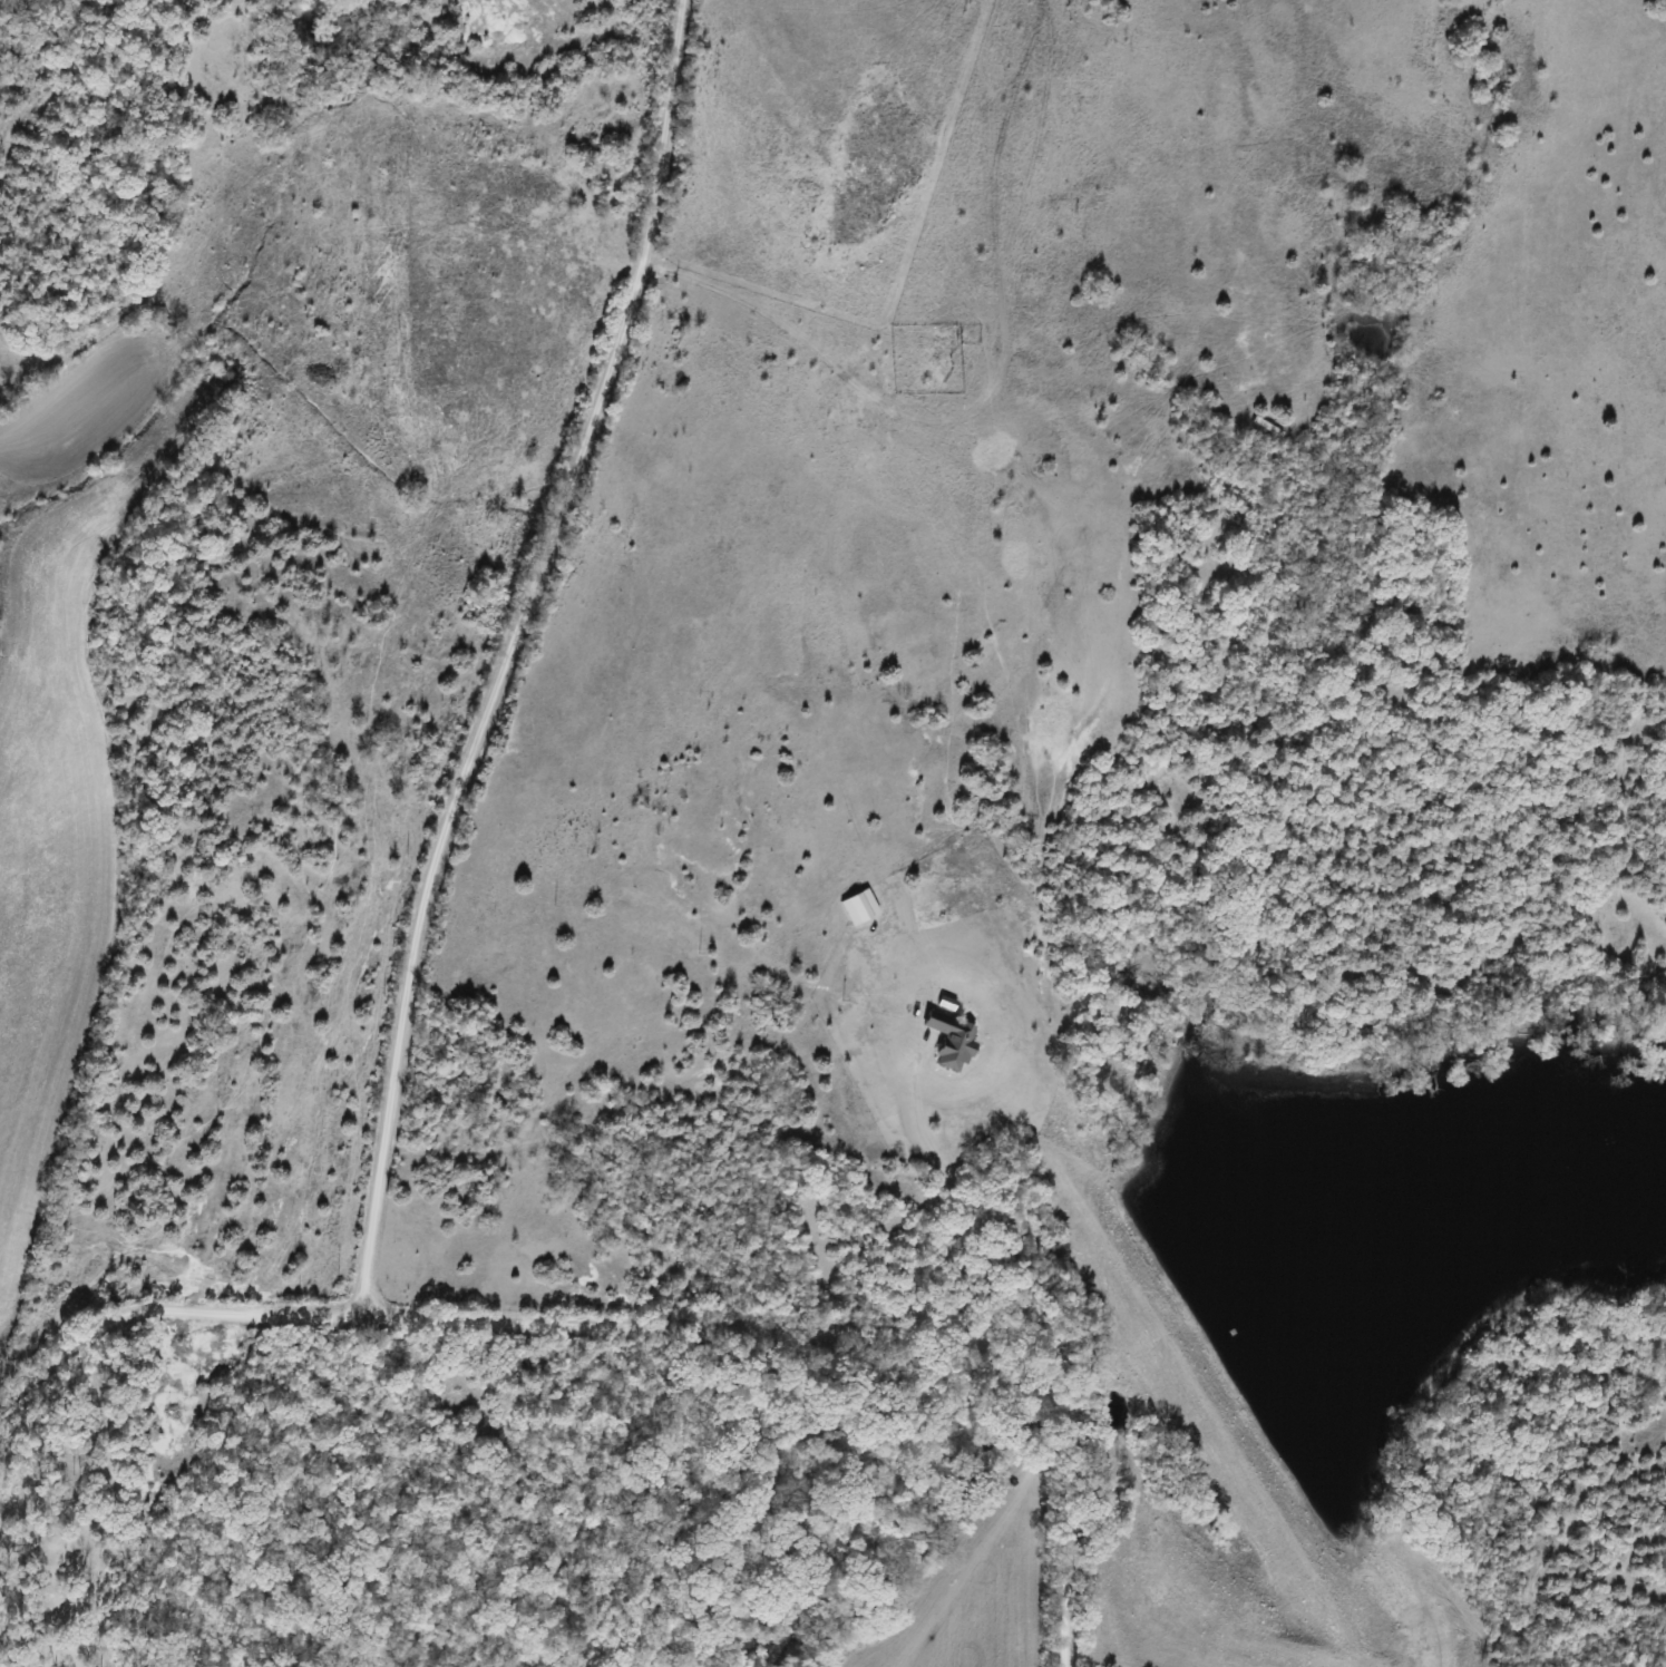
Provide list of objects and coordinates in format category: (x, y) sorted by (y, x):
road: (506, 656)
road: (166, 1313)
road: (861, 1330)

